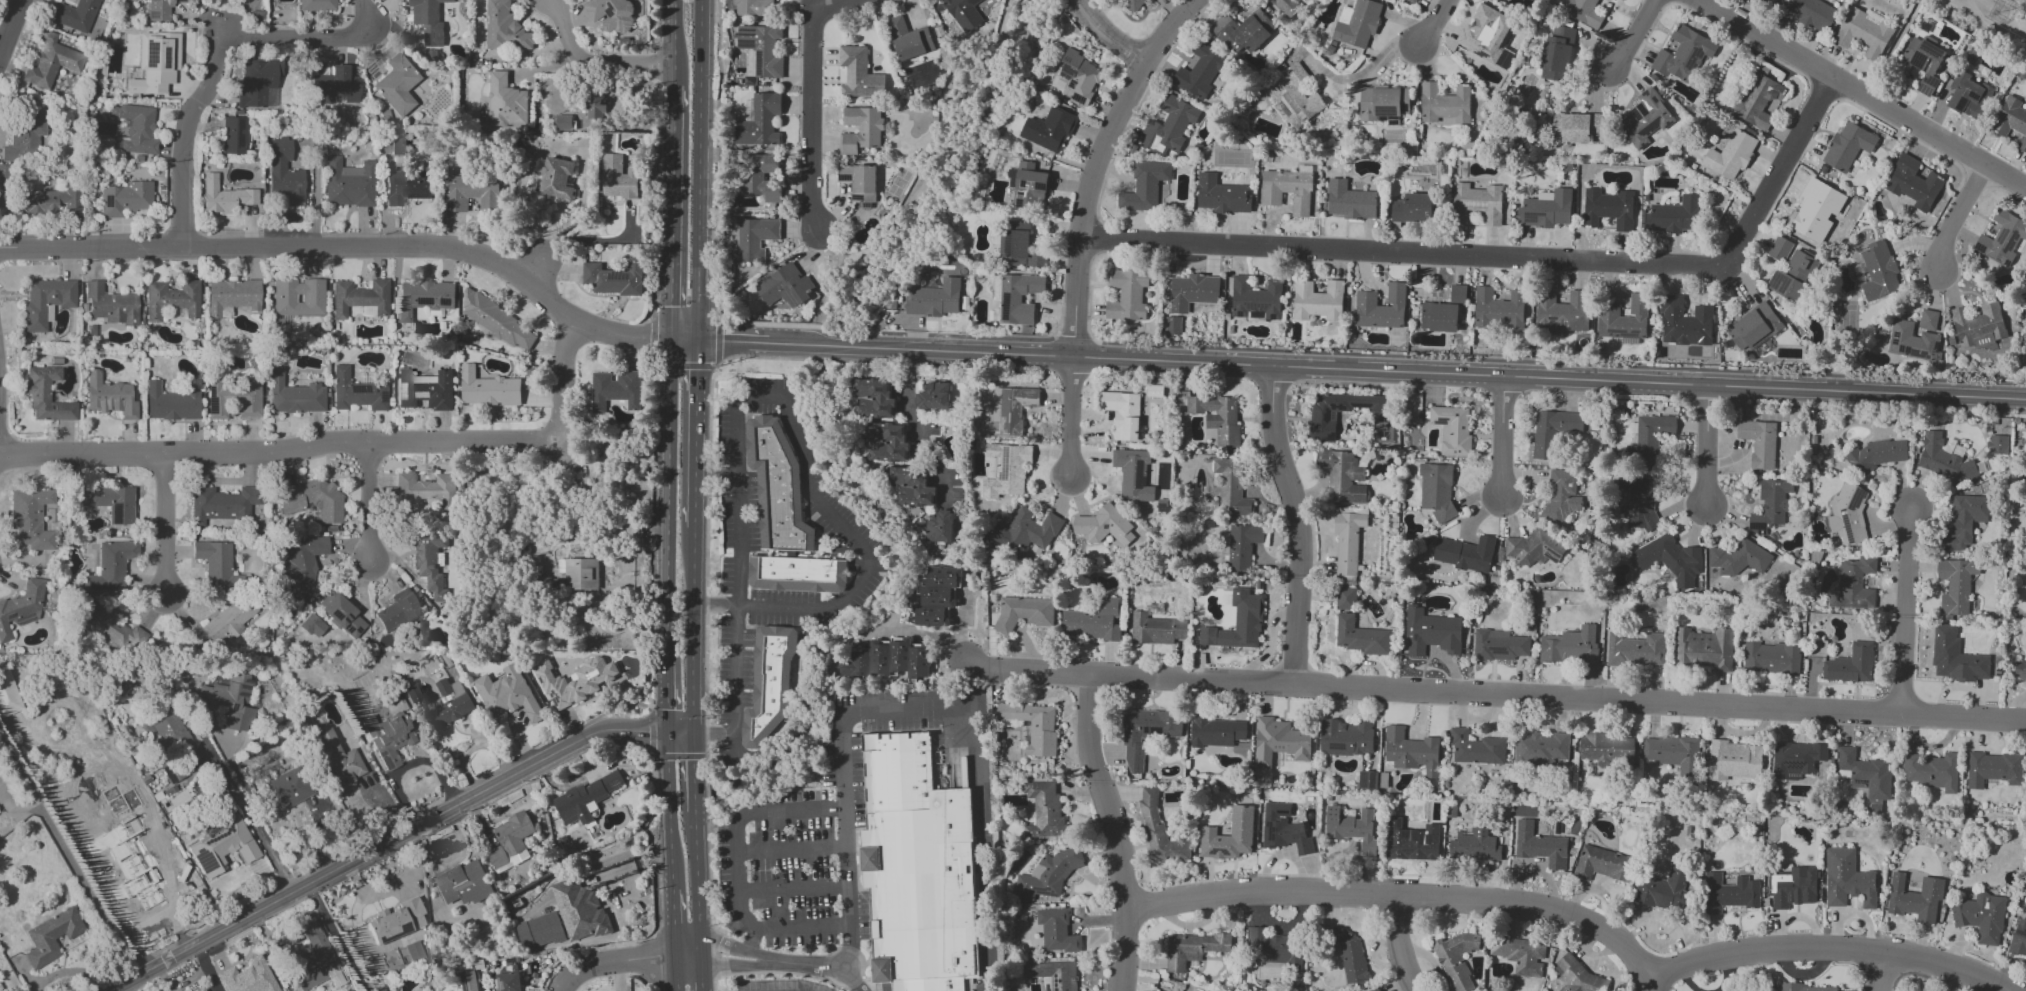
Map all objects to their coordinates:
building: (1411, 1)
building: (1770, 1)
building: (1134, 4)
building: (316, 5)
building: (1285, 6)
building: (752, 7)
road: (2013, 7)
building: (158, 9)
rooftop solar panel: (609, 11)
building: (1582, 12)
building: (963, 13)
building: (1812, 13)
building: (614, 14)
building: (74, 15)
rooftop solar panel: (153, 15)
building: (428, 21)
road: (1439, 22)
road: (10, 27)
building: (504, 28)
building: (1243, 31)
rooftop solar panel: (745, 32)
building: (1486, 32)
building: (1864, 32)
road: (1106, 33)
rooftop solar panel: (745, 37)
road: (1635, 37)
building: (909, 39)
road: (671, 42)
rooftop solar panel: (746, 48)
road: (1895, 48)
rooftop solar panel: (1929, 49)
building: (760, 50)
rooftop solar panel: (1707, 52)
building: (1556, 53)
building: (1683, 54)
rooftop solar panel: (1695, 56)
road: (220, 57)
rooftop solar panel: (1915, 59)
building: (51, 61)
road: (591, 61)
building: (1924, 61)
building: (155, 63)
rooftop solar panel: (1925, 64)
road: (1365, 67)
rooftop solar panel: (1068, 70)
building: (1199, 70)
building: (859, 73)
rooftop solar panel: (1060, 74)
road: (1800, 74)
rooftop solar panel: (1067, 76)
building: (1079, 78)
rooftop solar panel: (1929, 81)
building: (258, 83)
building: (398, 85)
building: (335, 86)
rooftop solar panel: (1923, 90)
road: (1823, 91)
road: (1862, 93)
building: (1967, 95)
rooftop solar panel: (1971, 95)
building: (1294, 96)
rooftop solar panel: (1654, 100)
building: (1757, 100)
building: (506, 102)
building: (1383, 102)
road: (810, 104)
rooftop solar panel: (1647, 104)
rooftop solar panel: (1959, 104)
building: (1445, 105)
building: (595, 106)
rooftop solar panel: (1640, 109)
rooftop solar panel: (1386, 113)
rooftop solar panel: (1634, 115)
building: (1644, 118)
building: (759, 121)
building: (2011, 121)
building: (561, 122)
building: (1169, 125)
building: (1575, 127)
rooftop solar panel: (1649, 127)
building: (134, 129)
building: (861, 129)
building: (1048, 129)
rooftop solar panel: (236, 133)
building: (233, 135)
road: (1907, 136)
building: (26, 137)
building: (1847, 146)
building: (398, 147)
building: (1730, 154)
road: (1096, 162)
road: (698, 169)
building: (284, 173)
building: (761, 177)
building: (556, 178)
building: (618, 178)
road: (1976, 179)
building: (348, 183)
building: (1913, 183)
building: (859, 184)
rooftop solar panel: (1023, 184)
building: (1028, 185)
building: (406, 186)
rooftop solar panel: (1041, 187)
building: (1146, 187)
building: (1287, 190)
road: (2004, 192)
building: (472, 193)
rooftop solar panel: (1019, 194)
building: (1221, 195)
building: (224, 197)
rooftop solar panel: (1358, 198)
building: (125, 199)
rooftop solar panel: (102, 200)
building: (1350, 201)
building: (51, 202)
building: (1477, 203)
rooftop solar panel: (1017, 206)
building: (1412, 208)
building: (1609, 208)
building: (1546, 209)
building: (1816, 210)
road: (670, 211)
building: (1674, 215)
road: (1956, 217)
rooftop solar panel: (2003, 233)
rooftop solar panel: (2014, 234)
building: (754, 238)
building: (2001, 238)
road: (593, 239)
rooftop solar panel: (2000, 240)
rooftop solar panel: (1011, 244)
rooftop solar panel: (2008, 244)
building: (1017, 245)
road: (347, 246)
rooftop solar panel: (1981, 248)
building: (1779, 249)
road: (1513, 254)
road: (532, 270)
building: (1878, 271)
rooftop solar panel: (615, 277)
building: (1792, 277)
building: (615, 278)
rooftop solar panel: (1781, 281)
building: (784, 286)
building: (1192, 291)
building: (1127, 295)
building: (232, 296)
building: (297, 297)
building: (424, 297)
building: (1016, 297)
rooftop solar panel: (792, 298)
building: (934, 298)
building: (1255, 298)
building: (360, 299)
building: (171, 300)
rooftop solar panel: (428, 301)
building: (1317, 301)
building: (45, 302)
rooftop solar panel: (445, 302)
building: (1670, 304)
building: (110, 305)
rooftop solar panel: (1266, 305)
traffic signals: (670, 306)
rooftop solar panel: (1256, 306)
building: (1380, 308)
building: (1498, 309)
building: (1562, 311)
building: (1443, 312)
rooftop solar panel: (1240, 313)
rooftop solar panel: (1258, 314)
building: (1622, 318)
building: (1927, 320)
building: (499, 323)
building: (1172, 325)
building: (1688, 327)
building: (1754, 327)
rooftop solar panel: (1896, 334)
rooftop solar panel: (1627, 335)
traffic signals: (649, 338)
road: (683, 338)
traffic signals: (724, 340)
road: (732, 340)
building: (1911, 341)
rooftop solar panel: (1894, 343)
rooftop solar panel: (1934, 345)
rooftop solar panel: (1902, 349)
rooftop solar panel: (1907, 349)
rooftop solar panel: (1915, 353)
traffic signals: (696, 371)
road: (1397, 372)
road: (563, 380)
road: (2015, 385)
building: (488, 389)
rooftop solar panel: (360, 390)
rooftop solar panel: (375, 390)
building: (424, 390)
building: (614, 391)
building: (1154, 391)
building: (356, 392)
building: (46, 395)
building: (293, 395)
rooftop solar panel: (610, 395)
building: (933, 395)
building: (110, 396)
rooftop solar panel: (383, 397)
road: (770, 397)
building: (874, 398)
building: (234, 400)
building: (170, 404)
building: (1012, 407)
building: (1337, 411)
building: (1122, 414)
road: (1071, 417)
road: (913, 418)
building: (1217, 418)
rooftop solar panel: (1443, 421)
building: (1451, 429)
building: (1552, 431)
road: (695, 433)
road: (1502, 436)
building: (1648, 439)
building: (1758, 442)
building: (888, 443)
building: (1997, 445)
road: (1706, 447)
road: (277, 453)
building: (1877, 455)
building: (1943, 460)
rooftop solar panel: (1005, 461)
building: (1006, 470)
building: (1133, 474)
rooftop solar panel: (1137, 475)
building: (1342, 476)
building: (912, 486)
building: (778, 487)
building: (1231, 488)
building: (422, 489)
building: (1436, 490)
building: (1562, 493)
road: (667, 498)
building: (1638, 499)
building: (312, 500)
rooftop solar panel: (1857, 500)
building: (108, 502)
road: (368, 504)
building: (220, 505)
building: (1769, 505)
rooftop solar panel: (115, 514)
building: (1847, 514)
building: (30, 519)
building: (1964, 521)
road: (1296, 523)
rooftop solar panel: (1758, 525)
road: (164, 527)
building: (940, 528)
rooftop solar panel: (1763, 531)
building: (1022, 532)
rooftop solar panel: (1759, 532)
building: (1347, 541)
building: (1242, 545)
building: (1533, 549)
building: (1464, 553)
building: (429, 559)
building: (1670, 559)
building: (1740, 560)
rooftop solar panel: (1666, 561)
building: (110, 565)
building: (303, 565)
building: (219, 568)
parking lot: (870, 572)
building: (579, 573)
building: (798, 574)
building: (1853, 585)
building: (1955, 585)
rooftop solar panel: (101, 587)
building: (937, 596)
building: (1345, 598)
road: (714, 604)
building: (21, 606)
road: (1905, 609)
building: (398, 611)
building: (1023, 612)
rooftop solar panel: (8, 615)
building: (341, 615)
rooftop solar panel: (334, 616)
rooftop solar panel: (346, 616)
rooftop solar panel: (22, 617)
rooftop solar panel: (25, 621)
rooftop solar panel: (342, 621)
building: (1093, 621)
building: (1242, 621)
building: (222, 623)
building: (312, 626)
building: (113, 628)
rooftop solar panel: (345, 628)
road: (691, 628)
building: (1156, 629)
rooftop solar panel: (348, 631)
rooftop solar panel: (358, 631)
building: (1430, 632)
rooftop solar panel: (1432, 635)
road: (936, 636)
building: (1360, 637)
building: (1498, 645)
building: (1569, 646)
building: (1704, 648)
building: (1634, 649)
building: (1954, 657)
building: (1771, 658)
building: (887, 659)
building: (1850, 664)
building: (2019, 670)
building: (574, 681)
building: (769, 687)
building: (507, 694)
road: (665, 694)
road: (1494, 694)
building: (8, 695)
building: (229, 699)
building: (441, 704)
road: (917, 710)
traffic signals: (665, 711)
building: (1033, 726)
traffic signals: (647, 730)
road: (712, 732)
building: (1217, 732)
building: (1146, 733)
building: (388, 738)
building: (1346, 738)
building: (1279, 741)
building: (168, 742)
rooftop solar panel: (1339, 745)
road: (735, 747)
building: (1475, 748)
building: (1606, 748)
building: (1539, 749)
building: (1411, 751)
building: (1671, 752)
rooftop solar panel: (1261, 755)
building: (338, 760)
building: (1733, 760)
building: (1796, 760)
traffic signals: (692, 762)
road: (407, 765)
building: (1994, 769)
road: (692, 771)
building: (1931, 771)
building: (899, 774)
building: (1865, 776)
building: (1367, 780)
rooftop solar panel: (617, 783)
building: (285, 790)
building: (585, 799)
road: (668, 810)
building: (1044, 812)
rooftop solar panel: (1282, 812)
road: (249, 818)
parking lot: (822, 827)
building: (1353, 828)
road: (1112, 830)
building: (1283, 830)
building: (1160, 832)
building: (1229, 836)
road: (394, 840)
building: (510, 841)
building: (1411, 841)
building: (222, 845)
building: (1474, 846)
building: (1539, 846)
building: (144, 849)
road: (791, 849)
rooftop solar panel: (206, 862)
building: (1602, 864)
road: (737, 871)
building: (1048, 874)
building: (1847, 879)
building: (464, 883)
rooftop solar panel: (474, 885)
road: (696, 885)
building: (1792, 887)
road: (793, 888)
building: (924, 888)
rooftop solar panel: (469, 889)
building: (1663, 889)
rooftop solar panel: (462, 891)
building: (127, 893)
building: (1728, 893)
building: (1914, 898)
building: (579, 911)
building: (1981, 917)
road: (1580, 920)
building: (395, 921)
road: (673, 924)
rooftop solar panel: (402, 928)
building: (539, 930)
building: (1056, 931)
building: (51, 937)
road: (338, 937)
building: (2018, 938)
road: (751, 939)
road: (733, 944)
road: (1400, 945)
building: (1273, 948)
building: (1192, 949)
building: (1519, 954)
building: (1349, 955)
building: (1457, 959)
building: (317, 962)
road: (628, 963)
road: (735, 967)
road: (820, 967)
road: (207, 968)
road: (1880, 972)
road: (675, 974)
building: (1053, 974)
road: (700, 975)
building: (1577, 976)
building: (248, 977)
building: (507, 978)
building: (467, 980)
building: (936, 982)
road: (1650, 984)
parking lot: (783, 986)
rooftop solar panel: (500, 987)
building: (1808, 988)
building: (198, 989)
building: (1376, 989)
building: (1746, 990)

